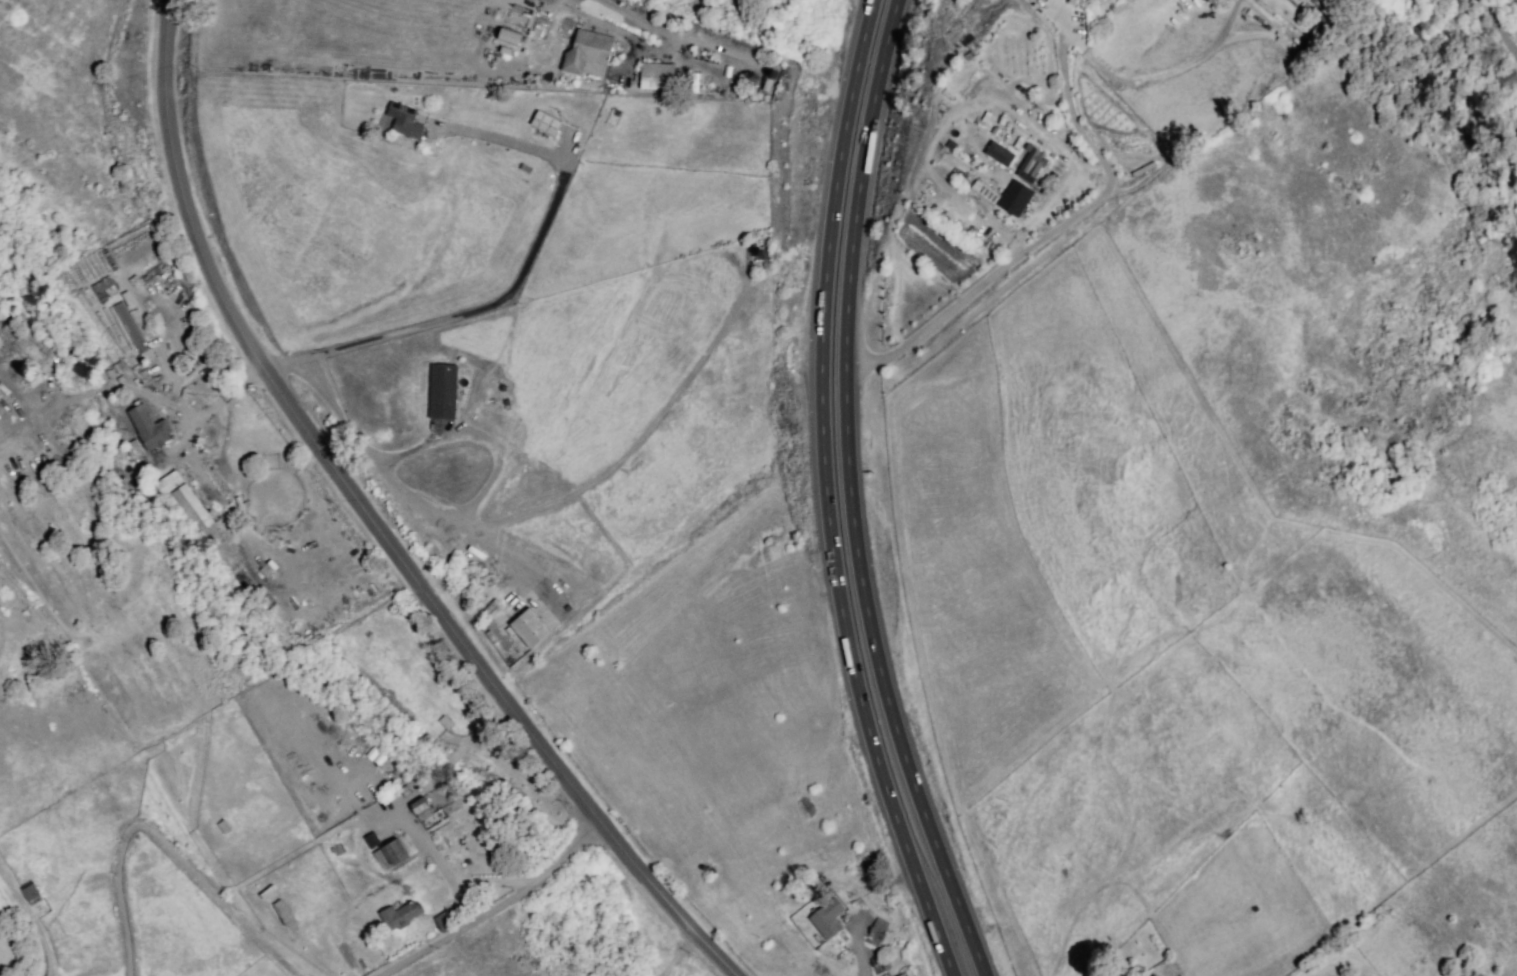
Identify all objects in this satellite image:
road: (666, 30)
building: (506, 37)
building: (583, 51)
building: (1506, 78)
building: (657, 80)
building: (764, 86)
building: (1012, 99)
building: (403, 121)
building: (543, 122)
building: (998, 153)
building: (1033, 166)
building: (992, 171)
building: (1023, 176)
building: (1013, 197)
road: (1058, 232)
building: (754, 245)
road: (523, 270)
building: (103, 287)
road: (290, 368)
building: (441, 390)
road: (226, 399)
building: (149, 428)
road: (475, 437)
building: (168, 482)
road: (827, 494)
road: (853, 495)
road: (543, 507)
building: (190, 508)
road: (379, 521)
building: (527, 626)
building: (445, 722)
building: (405, 793)
building: (421, 808)
building: (433, 819)
building: (223, 826)
building: (370, 840)
road: (163, 848)
building: (389, 854)
building: (27, 894)
building: (284, 911)
road: (490, 913)
building: (397, 915)
building: (828, 921)
building: (441, 922)
road: (29, 927)
road: (677, 952)
road: (858, 955)

